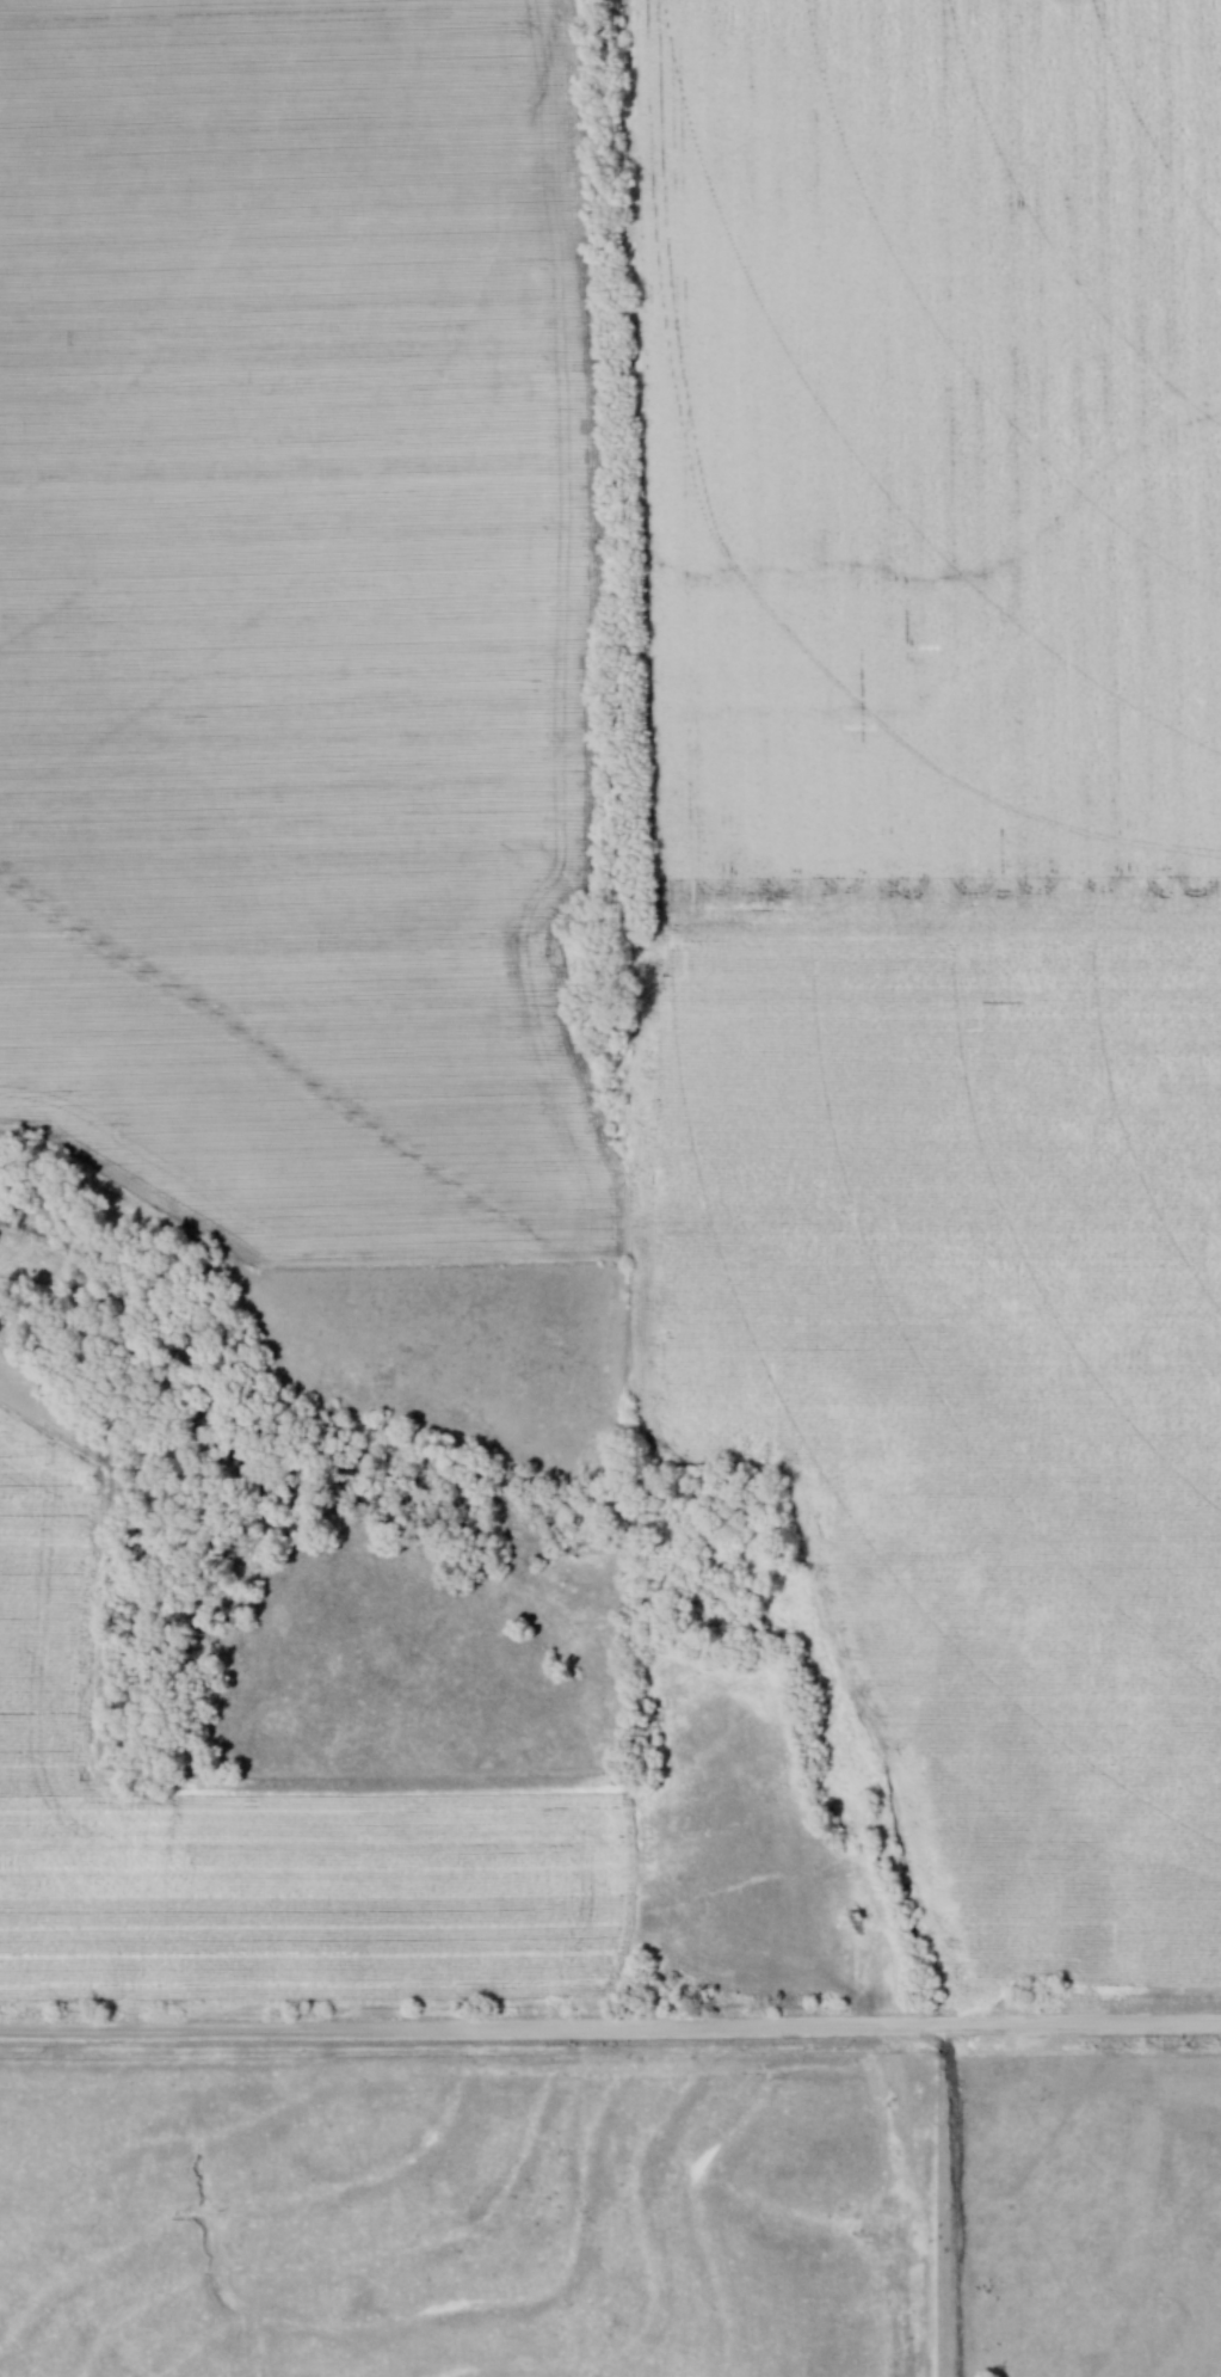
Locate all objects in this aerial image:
road: (610, 2039)

